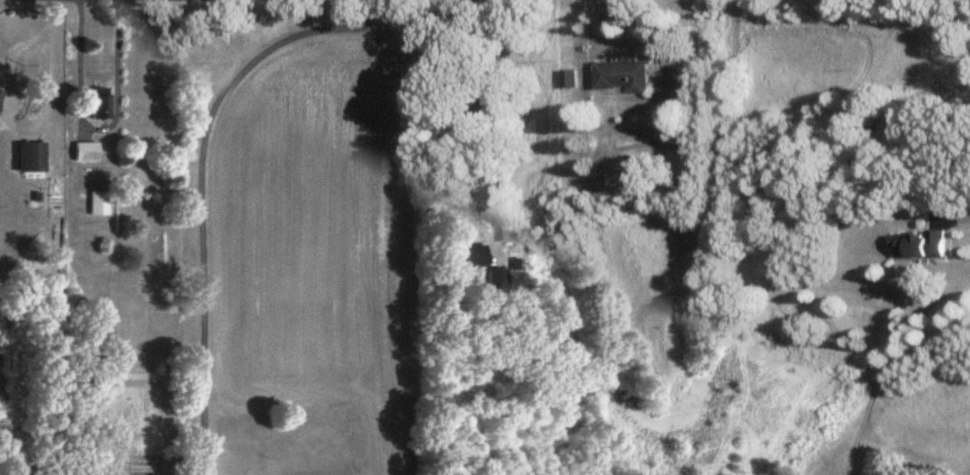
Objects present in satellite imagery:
road: (52, 14)
building: (620, 76)
building: (567, 78)
building: (93, 103)
road: (483, 125)
road: (10, 126)
road: (93, 128)
building: (78, 151)
building: (25, 157)
road: (201, 185)
building: (93, 203)
road: (967, 209)

